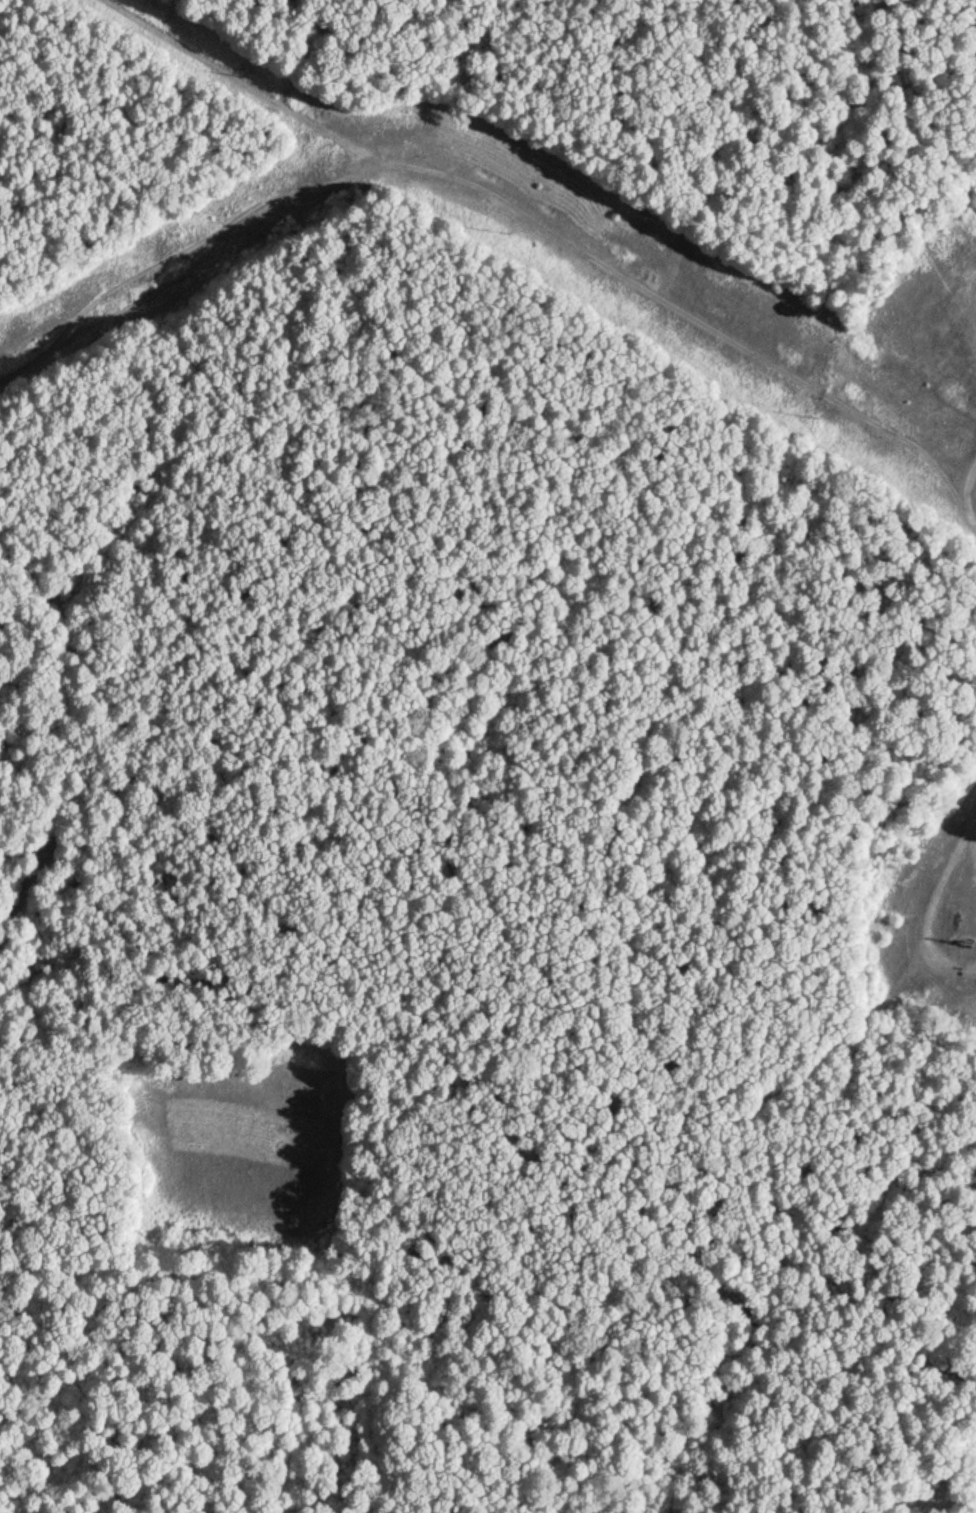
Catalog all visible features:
building: (975, 209)
road: (559, 232)
road: (968, 482)
road: (127, 792)
road: (932, 906)
petroleum well: (964, 941)
road: (251, 1108)

